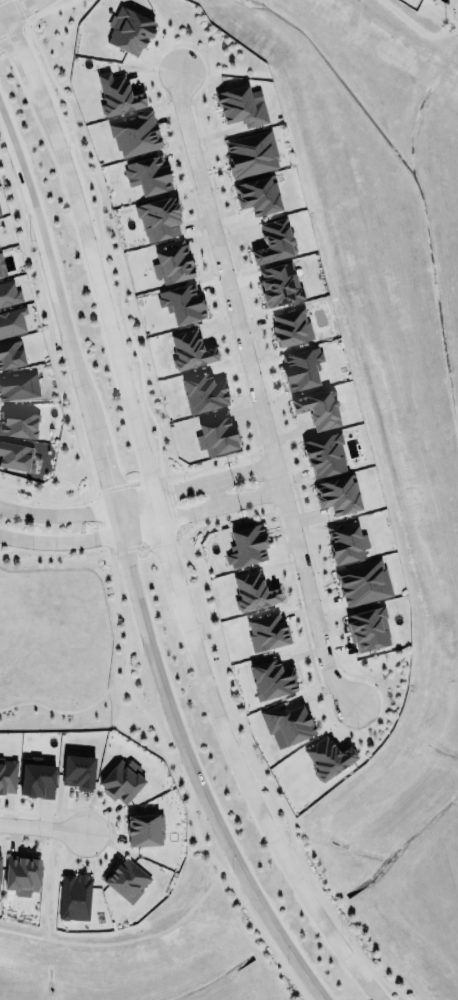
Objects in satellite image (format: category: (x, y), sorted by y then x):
road: (21, 14)
building: (129, 31)
building: (117, 94)
building: (241, 106)
building: (134, 134)
building: (252, 154)
building: (150, 173)
building: (259, 195)
building: (0, 212)
building: (0, 214)
building: (159, 219)
building: (273, 239)
building: (173, 262)
building: (2, 268)
building: (279, 284)
building: (9, 293)
building: (182, 303)
building: (12, 322)
building: (290, 326)
building: (190, 350)
building: (12, 354)
building: (302, 369)
building: (19, 385)
road: (261, 389)
building: (204, 392)
building: (318, 409)
building: (20, 424)
building: (216, 434)
building: (13, 452)
building: (326, 454)
road: (253, 461)
road: (192, 479)
road: (261, 486)
building: (339, 494)
road: (199, 504)
road: (79, 512)
road: (161, 514)
road: (82, 535)
building: (346, 543)
building: (248, 545)
road: (127, 568)
building: (363, 582)
building: (254, 591)
building: (368, 629)
building: (267, 630)
building: (272, 679)
building: (288, 722)
building: (327, 758)
building: (79, 771)
building: (7, 775)
building: (37, 777)
building: (122, 780)
road: (38, 823)
building: (145, 830)
building: (22, 874)
building: (127, 880)
building: (75, 897)

